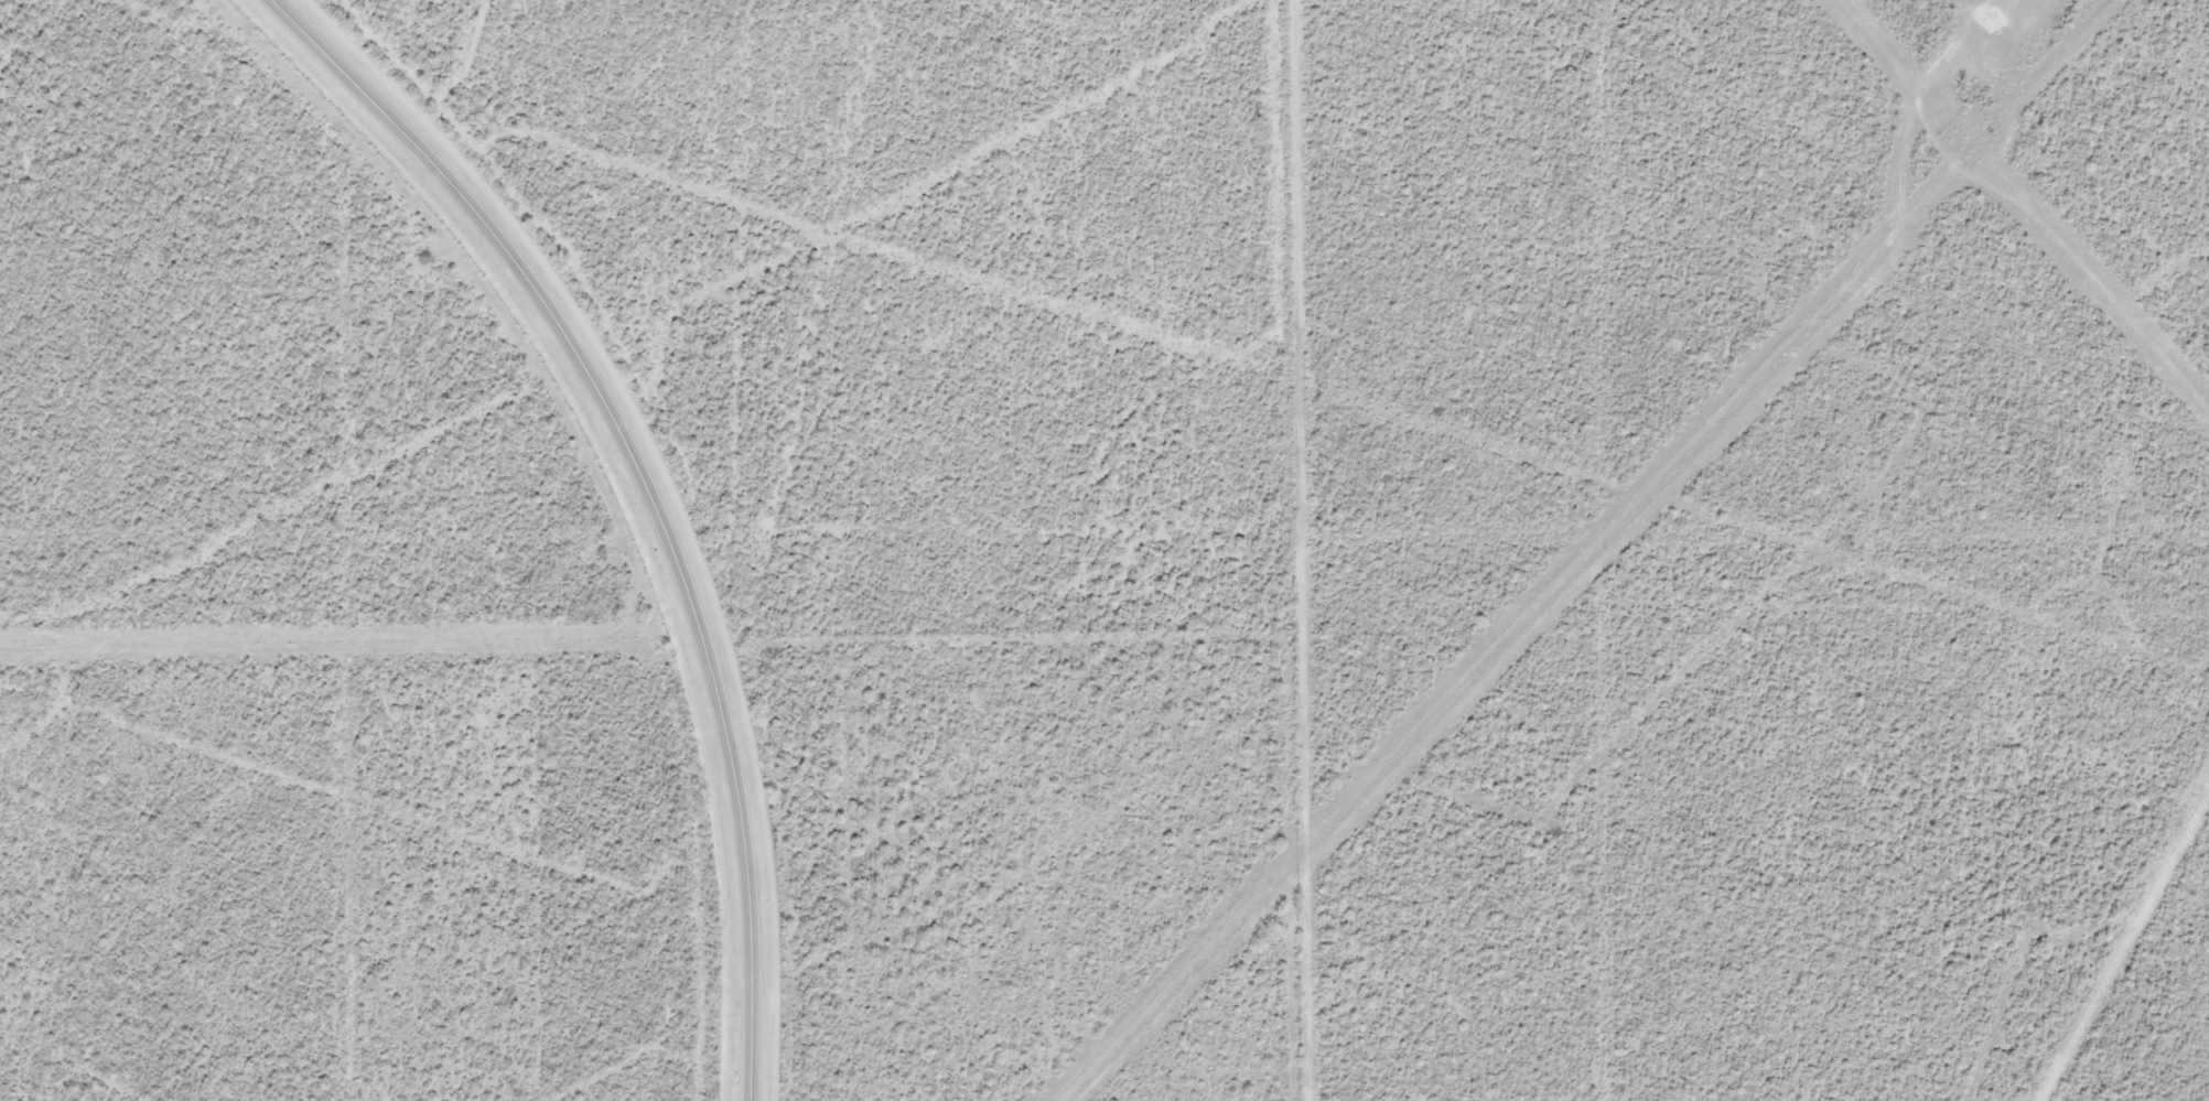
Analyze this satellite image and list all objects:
road: (650, 489)

